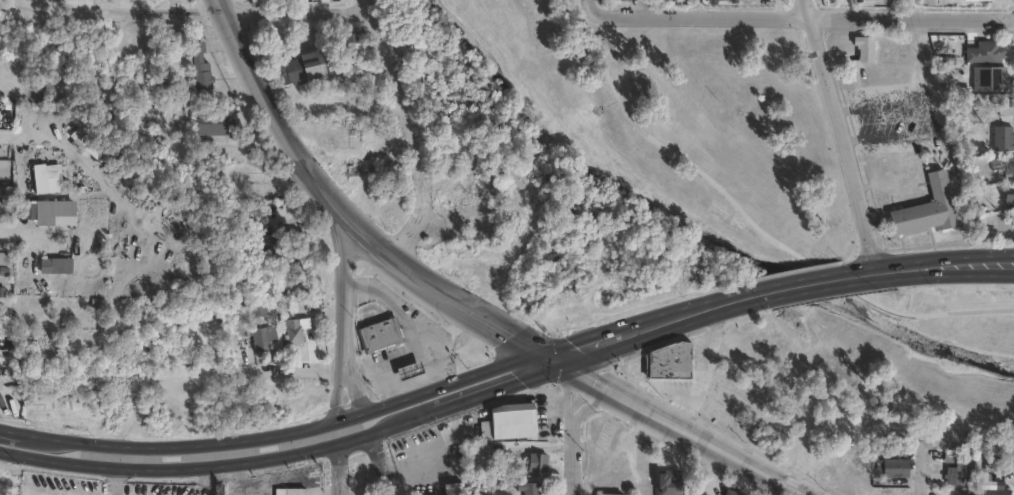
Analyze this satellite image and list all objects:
building: (625, 0)
building: (679, 1)
building: (715, 1)
building: (735, 1)
road: (596, 2)
road: (21, 3)
road: (199, 10)
road: (806, 12)
building: (352, 35)
building: (866, 48)
building: (985, 53)
building: (199, 68)
building: (300, 69)
building: (988, 78)
road: (268, 105)
building: (1006, 106)
building: (211, 124)
road: (410, 129)
building: (74, 133)
road: (842, 133)
building: (1003, 138)
road: (666, 150)
building: (1004, 167)
building: (39, 179)
building: (55, 184)
park: (709, 189)
building: (1007, 194)
building: (929, 209)
building: (29, 210)
building: (271, 246)
road: (387, 250)
building: (3, 263)
building: (56, 266)
road: (926, 266)
road: (834, 280)
road: (804, 281)
road: (341, 285)
building: (257, 311)
road: (407, 316)
road: (935, 316)
road: (659, 319)
road: (497, 325)
building: (295, 331)
building: (378, 334)
building: (260, 340)
traffic signals: (550, 357)
building: (671, 362)
building: (407, 368)
gas station: (407, 368)
road: (258, 373)
road: (585, 375)
road: (504, 383)
road: (350, 389)
road: (336, 393)
building: (43, 402)
road: (643, 406)
building: (511, 421)
road: (278, 430)
road: (570, 434)
road: (719, 447)
road: (231, 461)
road: (381, 461)
building: (537, 463)
road: (347, 464)
building: (897, 468)
building: (954, 469)
road: (922, 472)
road: (789, 485)
building: (528, 488)
building: (453, 489)
building: (997, 490)
building: (295, 492)
building: (734, 493)
building: (888, 493)
building: (609, 494)

